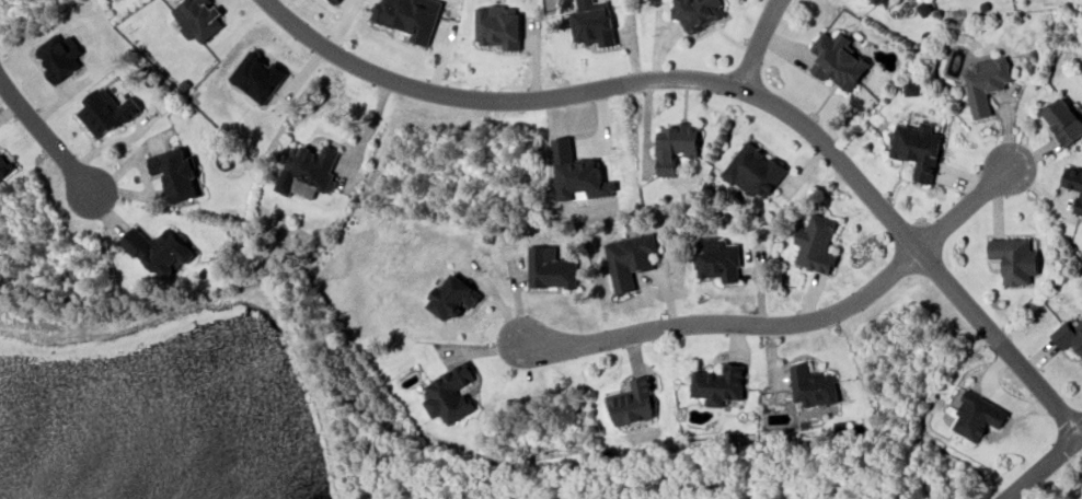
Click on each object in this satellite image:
building: (335, 1)
building: (885, 3)
building: (698, 12)
building: (408, 16)
building: (198, 18)
building: (591, 22)
building: (497, 25)
road: (753, 44)
building: (59, 56)
building: (837, 59)
building: (985, 82)
road: (729, 85)
building: (910, 86)
building: (105, 112)
building: (1062, 120)
road: (39, 138)
building: (675, 146)
building: (917, 148)
building: (4, 165)
building: (753, 170)
building: (307, 171)
building: (175, 173)
building: (1073, 185)
building: (815, 243)
building: (159, 249)
building: (717, 258)
building: (629, 259)
building: (1014, 259)
building: (550, 268)
building: (452, 295)
road: (789, 323)
building: (1069, 336)
building: (718, 384)
building: (811, 385)
building: (449, 394)
building: (631, 402)
building: (976, 415)
road: (1044, 464)

